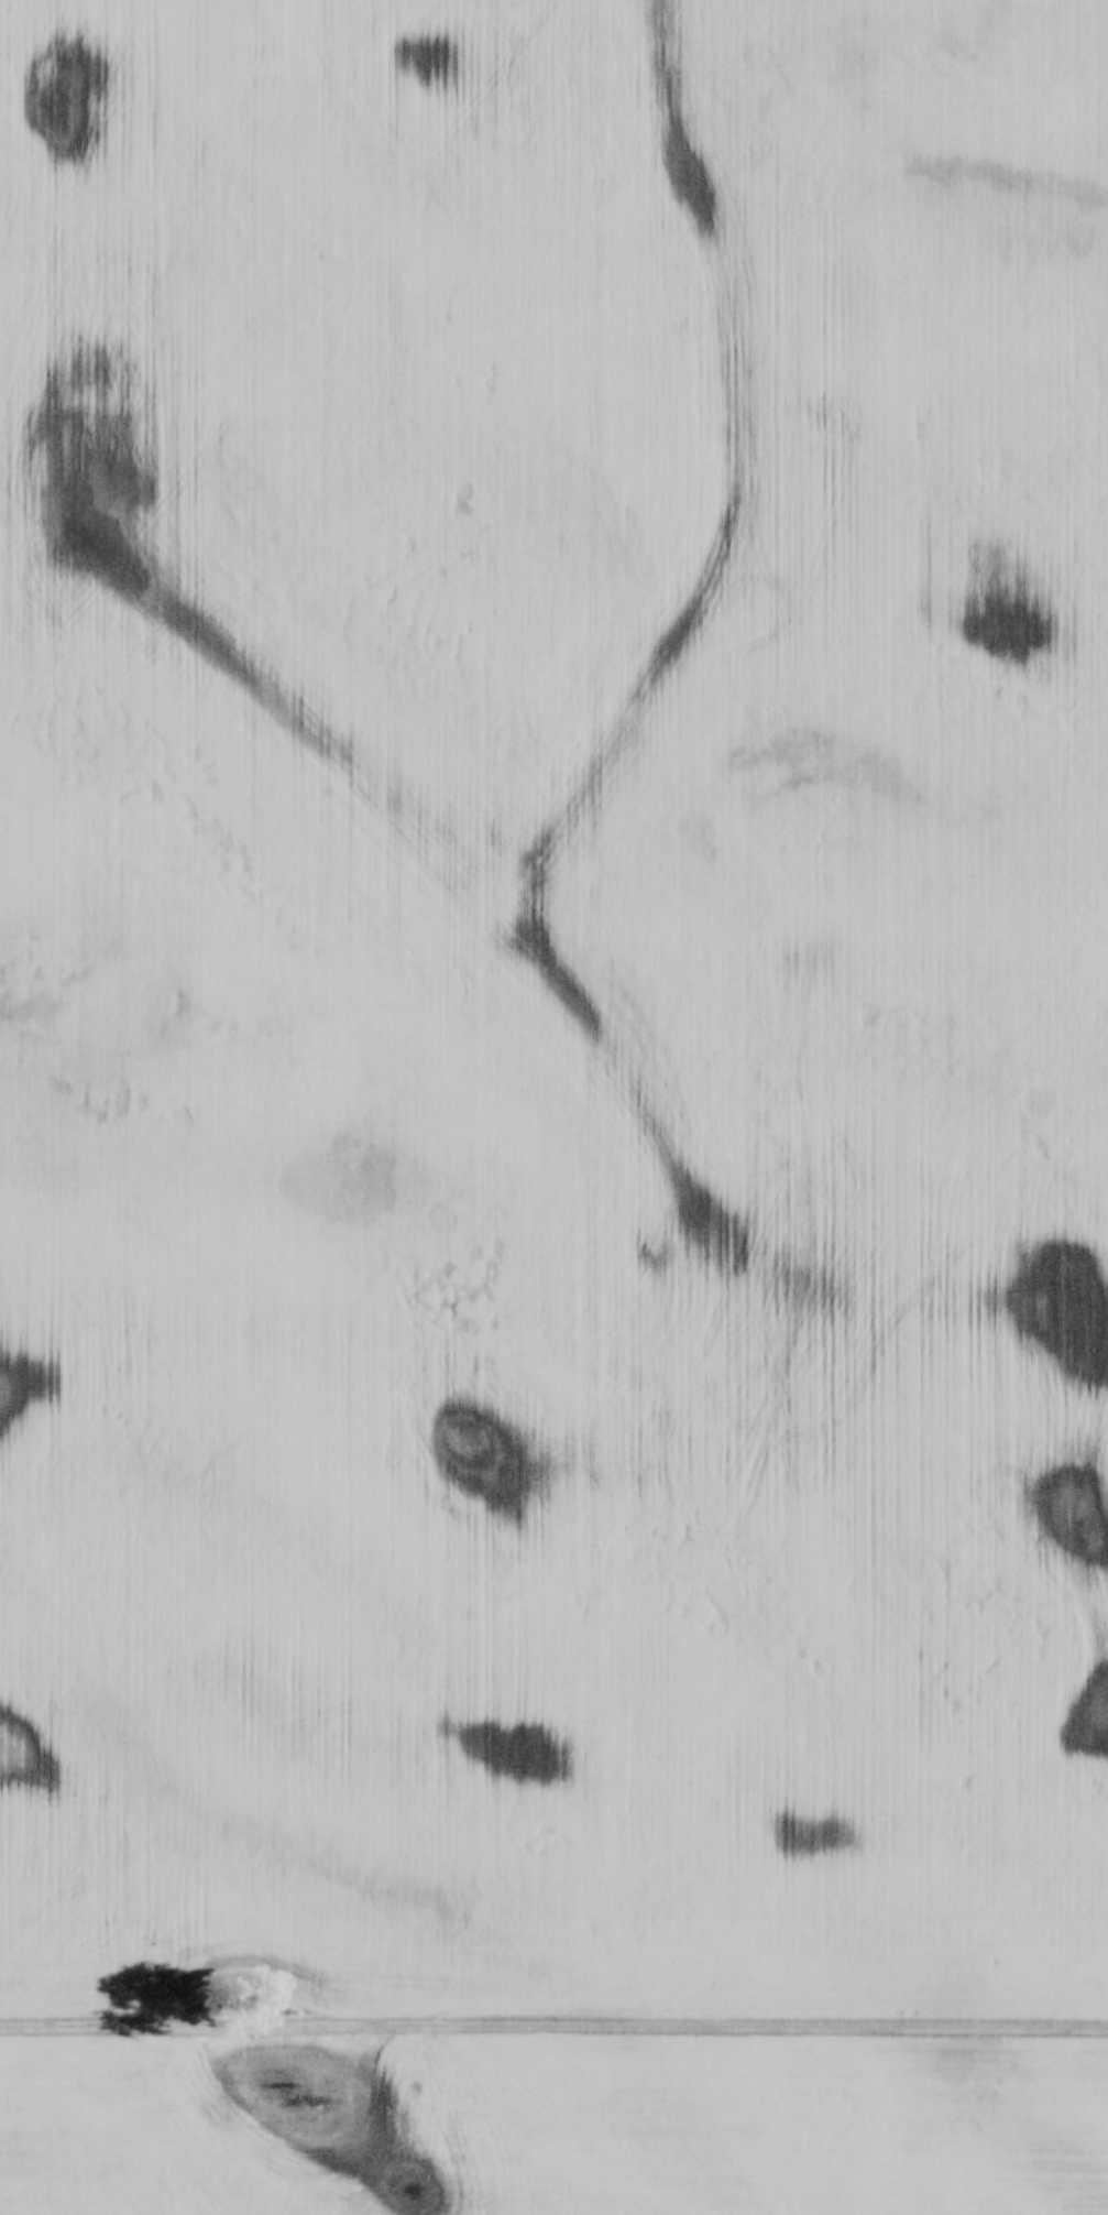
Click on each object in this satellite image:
road: (553, 2027)
crop: (550, 2124)

